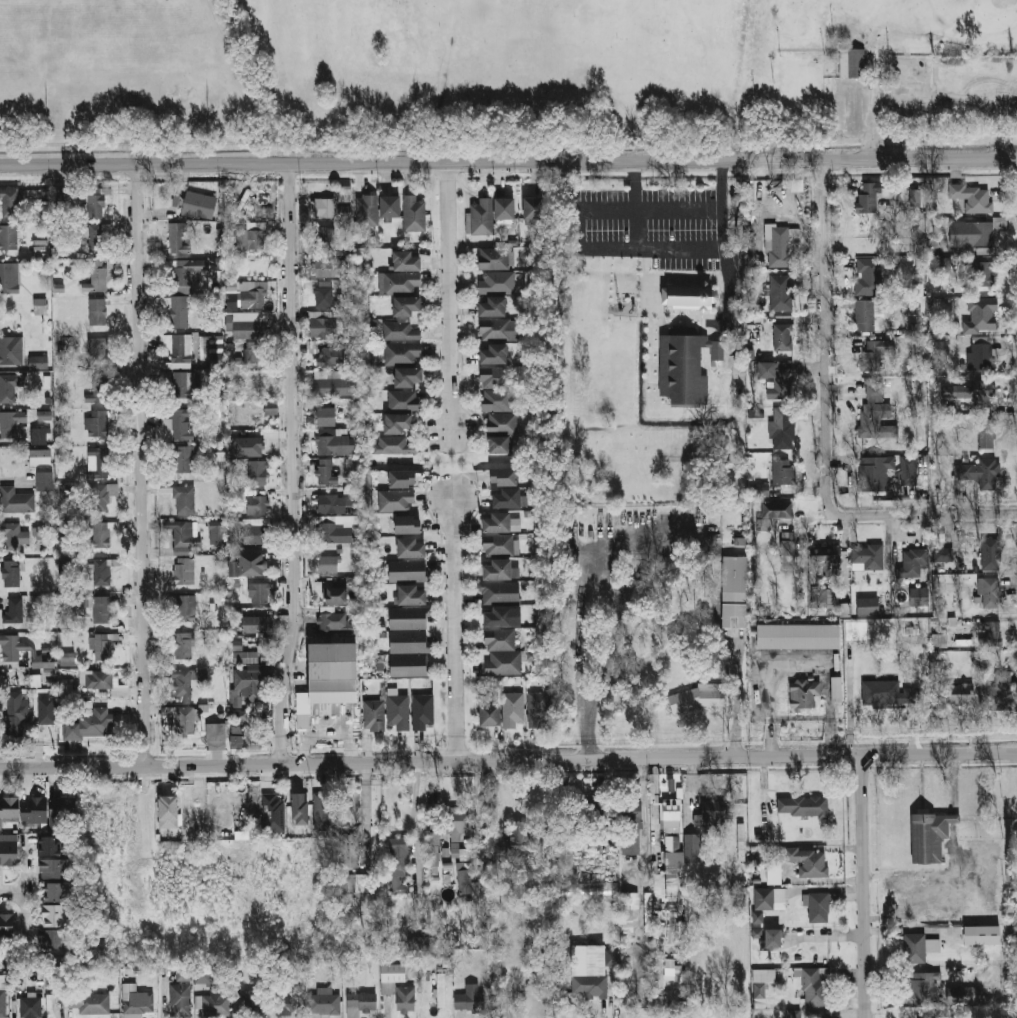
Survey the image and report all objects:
park: (115, 61)
park: (634, 62)
building: (852, 62)
park: (503, 70)
road: (916, 101)
road: (508, 162)
road: (508, 171)
building: (914, 197)
building: (974, 197)
building: (868, 198)
building: (345, 201)
building: (9, 203)
building: (96, 203)
building: (199, 205)
building: (388, 206)
road: (655, 207)
building: (504, 208)
building: (532, 209)
building: (324, 210)
building: (367, 210)
building: (413, 214)
building: (481, 216)
road: (636, 227)
building: (974, 234)
building: (251, 235)
building: (327, 235)
building: (9, 237)
building: (98, 239)
building: (178, 239)
road: (608, 246)
building: (780, 246)
road: (724, 249)
building: (495, 259)
building: (404, 262)
building: (328, 267)
building: (184, 275)
building: (984, 275)
building: (868, 276)
building: (96, 277)
building: (9, 278)
building: (496, 282)
building: (401, 283)
building: (780, 293)
building: (325, 296)
building: (685, 296)
building: (253, 297)
road: (449, 299)
building: (39, 306)
building: (404, 306)
building: (491, 306)
building: (97, 312)
building: (179, 312)
building: (867, 314)
building: (982, 316)
building: (248, 324)
building: (323, 327)
building: (494, 329)
building: (400, 331)
building: (783, 337)
building: (179, 343)
building: (214, 347)
building: (229, 347)
building: (939, 349)
building: (11, 351)
building: (97, 353)
building: (402, 353)
building: (492, 353)
building: (874, 354)
building: (256, 357)
building: (331, 357)
building: (981, 357)
building: (38, 363)
building: (769, 369)
building: (682, 370)
building: (406, 377)
building: (495, 378)
building: (180, 383)
building: (330, 384)
building: (9, 387)
building: (257, 387)
building: (97, 391)
building: (980, 394)
building: (496, 400)
building: (403, 401)
building: (872, 410)
building: (257, 413)
building: (43, 414)
building: (759, 414)
building: (325, 417)
building: (396, 422)
building: (500, 423)
building: (11, 424)
building: (96, 424)
building: (182, 424)
road: (827, 427)
building: (781, 432)
building: (986, 434)
building: (38, 436)
building: (334, 445)
building: (393, 445)
building: (495, 445)
building: (246, 446)
building: (40, 456)
building: (183, 459)
building: (220, 459)
building: (98, 464)
road: (144, 465)
road: (296, 465)
building: (908, 471)
building: (257, 472)
building: (325, 472)
building: (781, 472)
building: (875, 473)
building: (982, 473)
building: (502, 477)
building: (399, 479)
building: (45, 481)
building: (762, 490)
building: (63, 491)
building: (100, 498)
building: (504, 499)
building: (15, 500)
building: (184, 500)
building: (395, 501)
building: (337, 504)
building: (257, 505)
building: (777, 511)
building: (495, 522)
building: (405, 525)
building: (42, 532)
building: (216, 532)
building: (99, 533)
building: (184, 534)
building: (254, 534)
building: (334, 534)
building: (11, 537)
building: (497, 545)
building: (407, 548)
building: (942, 555)
road: (610, 557)
building: (990, 557)
building: (867, 558)
building: (823, 560)
building: (918, 561)
building: (249, 564)
building: (328, 564)
building: (496, 569)
building: (66, 571)
building: (184, 571)
building: (406, 571)
building: (101, 572)
building: (10, 574)
road: (604, 586)
building: (734, 591)
building: (500, 592)
building: (991, 592)
building: (258, 593)
building: (332, 595)
building: (410, 595)
building: (918, 596)
building: (824, 598)
building: (867, 606)
building: (185, 607)
building: (102, 609)
building: (844, 609)
building: (14, 611)
building: (496, 617)
building: (407, 619)
building: (334, 622)
building: (254, 624)
road: (457, 629)
building: (992, 633)
building: (798, 636)
building: (499, 639)
building: (939, 640)
building: (408, 642)
building: (101, 645)
building: (183, 645)
building: (237, 645)
road: (577, 647)
building: (11, 648)
road: (611, 653)
building: (69, 656)
building: (252, 656)
building: (44, 662)
building: (503, 662)
building: (409, 665)
building: (103, 678)
building: (38, 680)
building: (180, 681)
building: (328, 681)
building: (248, 686)
building: (836, 688)
building: (1001, 690)
building: (66, 691)
building: (803, 693)
building: (888, 693)
building: (960, 693)
building: (699, 696)
road: (735, 697)
building: (398, 709)
building: (512, 709)
building: (537, 709)
building: (423, 712)
building: (487, 713)
building: (374, 715)
building: (17, 716)
building: (46, 718)
building: (183, 719)
building: (99, 721)
building: (235, 728)
building: (74, 729)
building: (215, 732)
road: (586, 732)
building: (236, 741)
road: (508, 759)
building: (802, 806)
building: (298, 807)
road: (368, 808)
building: (39, 810)
building: (324, 811)
building: (166, 812)
building: (273, 813)
building: (712, 814)
building: (593, 818)
building: (456, 822)
building: (631, 827)
building: (702, 830)
building: (519, 835)
building: (928, 836)
building: (435, 840)
building: (51, 845)
building: (692, 848)
building: (9, 850)
building: (350, 850)
building: (457, 851)
building: (673, 855)
building: (435, 859)
building: (565, 859)
building: (808, 860)
building: (399, 864)
building: (54, 868)
building: (773, 872)
building: (356, 882)
building: (465, 882)
road: (864, 885)
building: (587, 888)
building: (56, 891)
road: (13, 892)
road: (26, 893)
building: (662, 895)
building: (769, 898)
building: (347, 899)
building: (818, 907)
building: (628, 913)
building: (56, 915)
building: (757, 916)
building: (8, 925)
building: (756, 933)
building: (981, 935)
building: (54, 938)
building: (771, 938)
road: (829, 938)
building: (418, 942)
building: (915, 948)
building: (811, 952)
building: (612, 957)
building: (183, 970)
building: (540, 970)
building: (672, 970)
building: (202, 973)
building: (584, 974)
building: (764, 975)
building: (926, 985)
building: (817, 986)
building: (397, 989)
building: (441, 989)
building: (965, 995)
building: (468, 997)
building: (181, 1000)
building: (137, 1001)
building: (324, 1001)
building: (88, 1002)
building: (359, 1002)
building: (3, 1003)
building: (287, 1003)
building: (215, 1004)
building: (252, 1004)
building: (31, 1005)
building: (793, 1013)
building: (1014, 1013)
building: (821, 1015)
building: (934, 1017)

